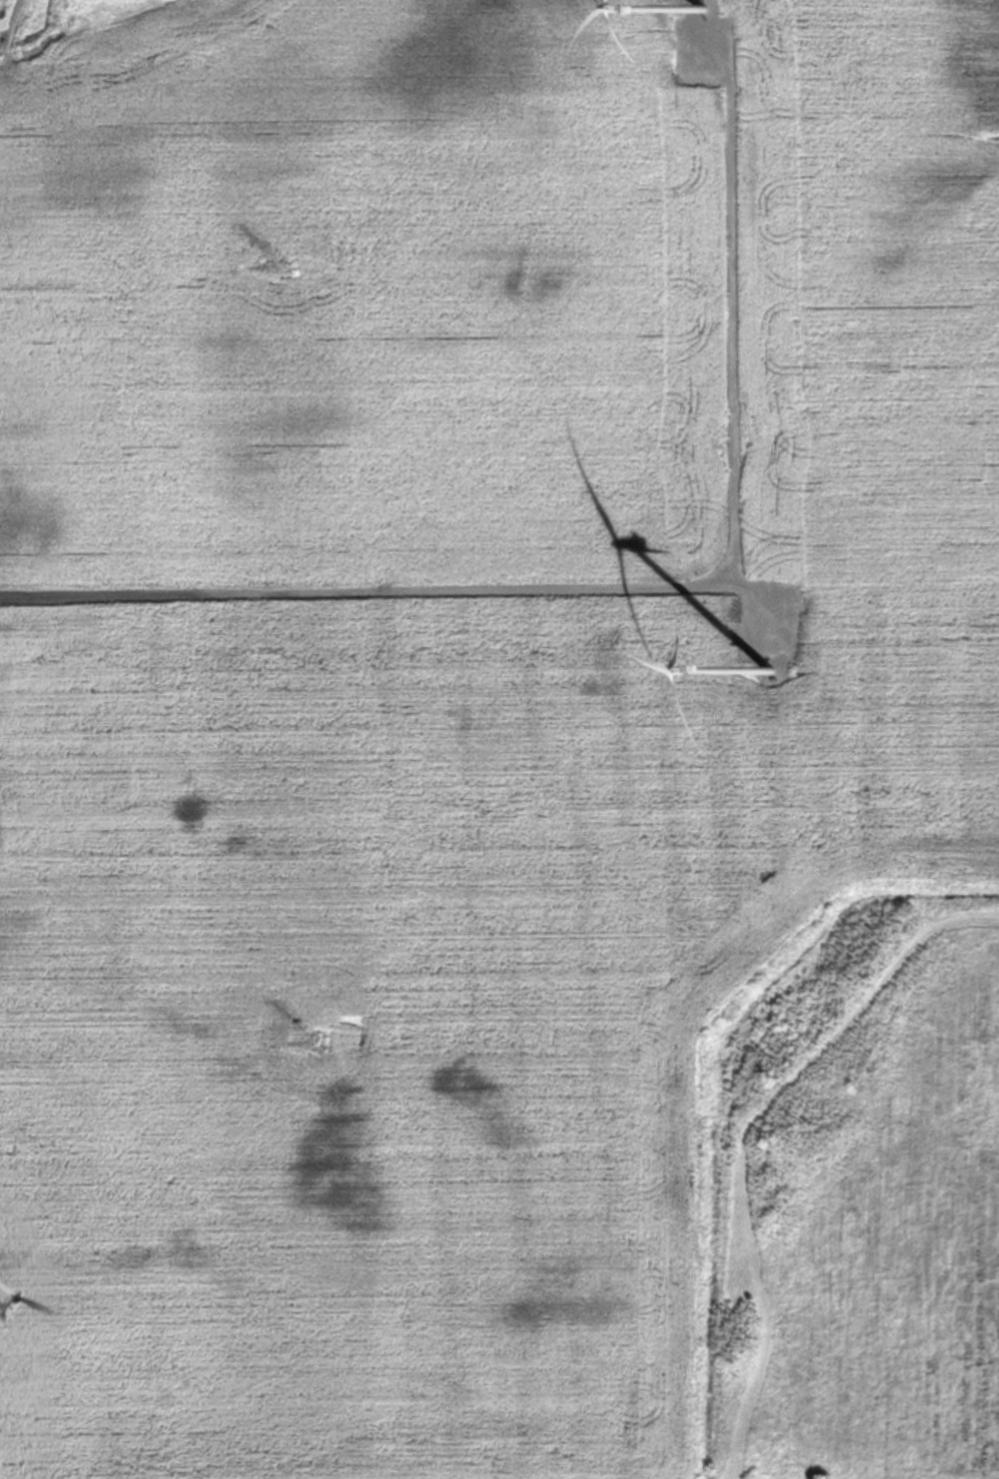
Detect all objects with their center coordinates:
wind turbine: (700, 15)
power tower: (280, 272)
road: (658, 595)
wind turbine: (767, 676)
power tower: (315, 1049)

